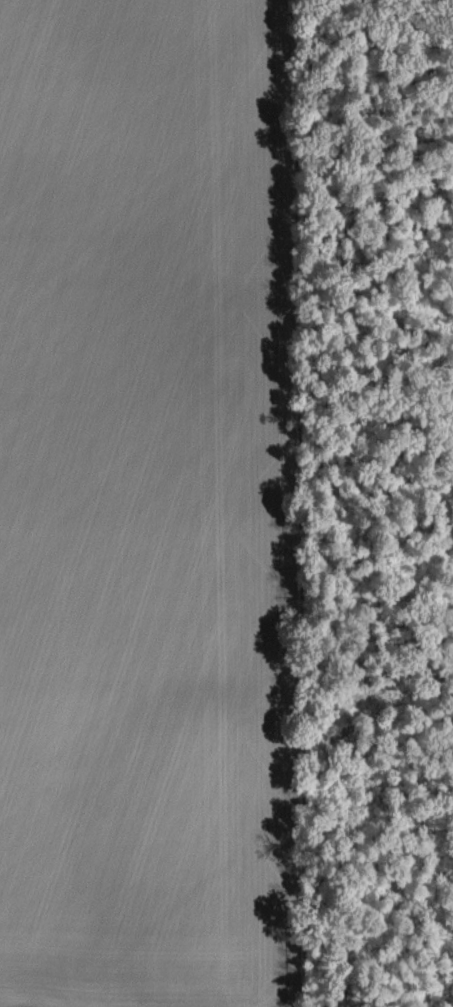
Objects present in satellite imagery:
road: (260, 506)

